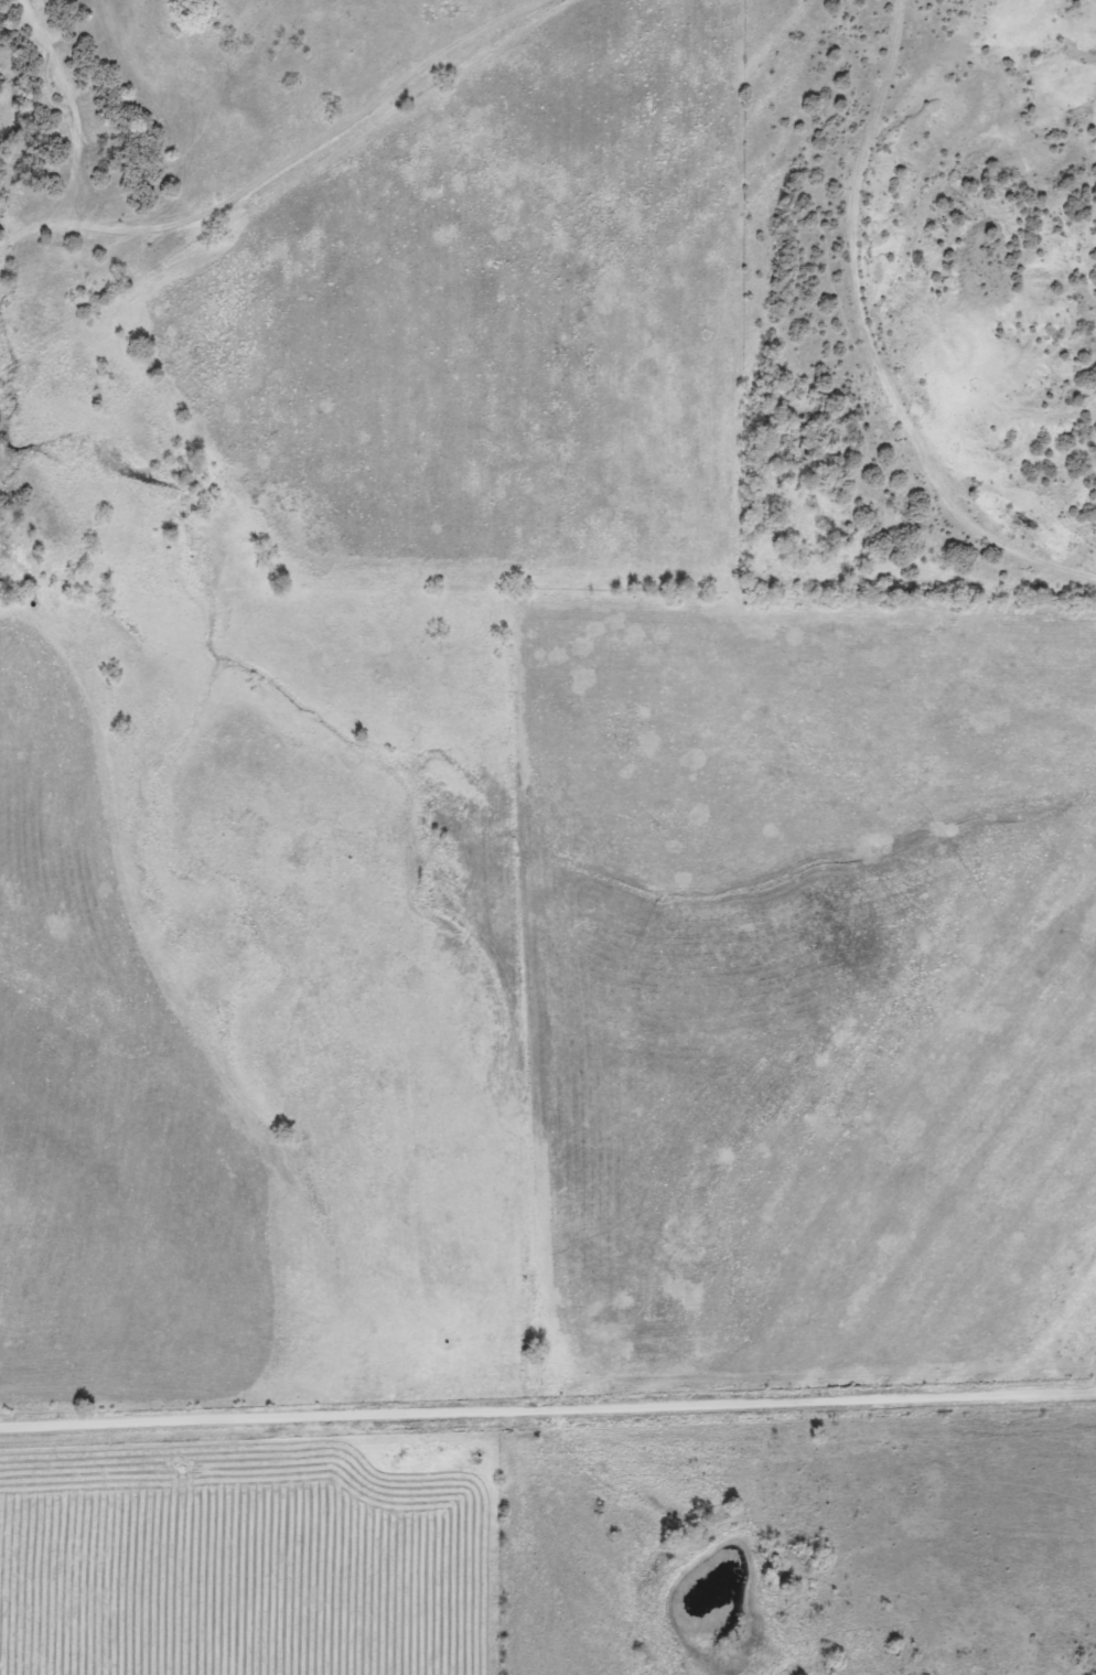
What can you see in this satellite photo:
road: (548, 1411)

